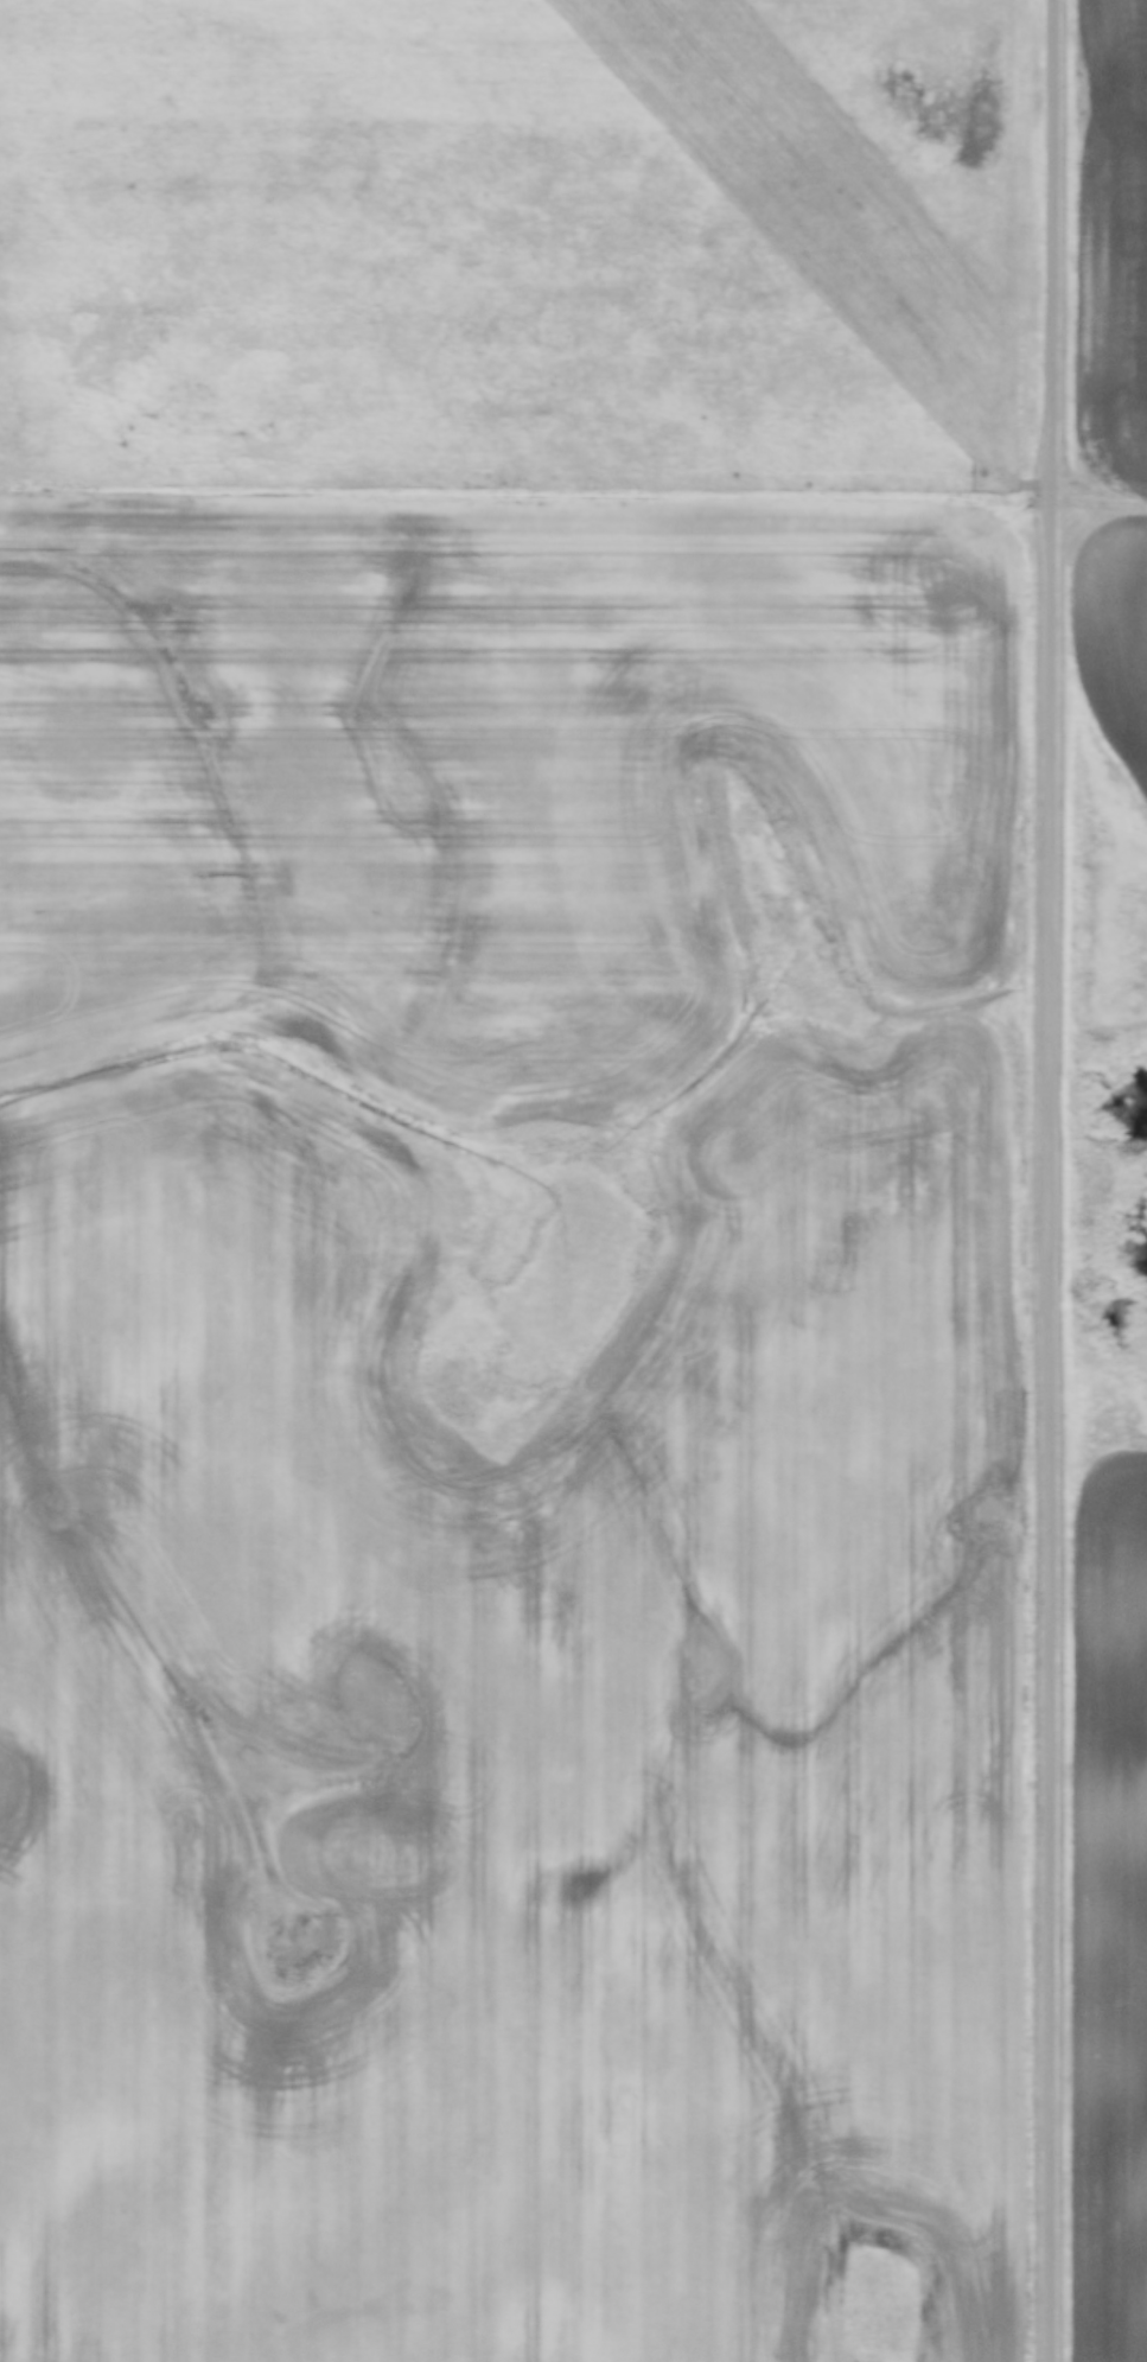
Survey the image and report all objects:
road: (1098, 503)
road: (1047, 1180)

